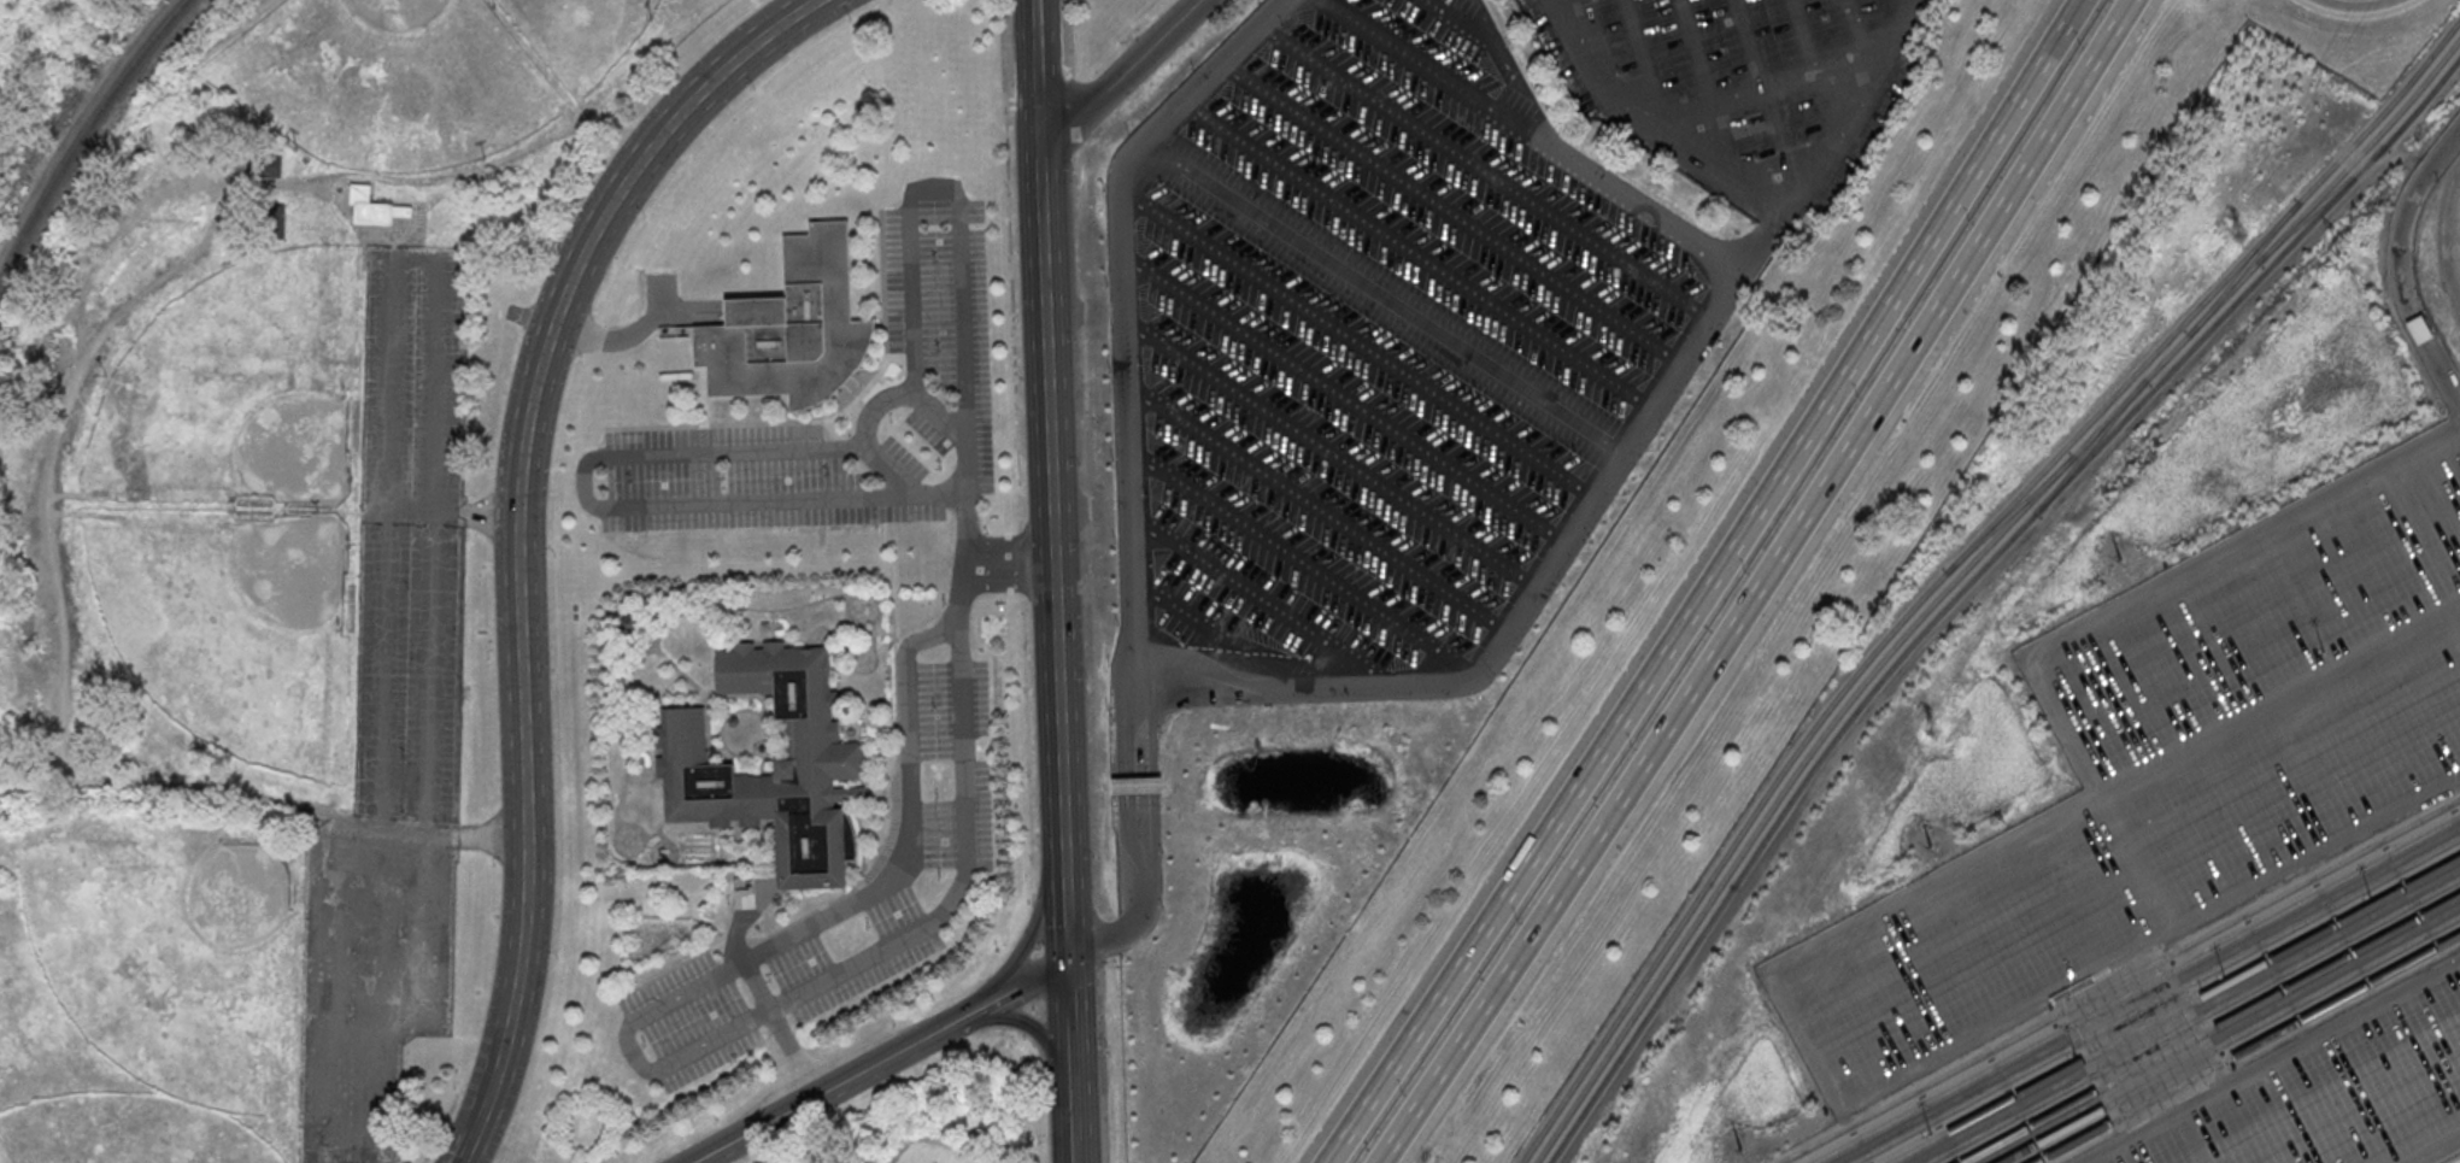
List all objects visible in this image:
road: (1908, 5)
road: (2361, 5)
road: (1033, 11)
street lamp: (853, 18)
road: (1861, 27)
road: (1468, 28)
road: (1804, 33)
street lamp: (1009, 35)
road: (1067, 36)
road: (1751, 40)
road: (1697, 48)
road: (1643, 54)
road: (1122, 74)
parking lot: (1742, 86)
street lamp: (755, 89)
road: (1070, 93)
road: (1727, 93)
street lamp: (1010, 110)
street lamp: (635, 119)
railway: (83, 134)
road: (1531, 136)
street lamp: (1082, 163)
building: (271, 164)
road: (1486, 171)
street lamp: (1005, 184)
railway: (2323, 202)
road: (894, 208)
road: (1779, 208)
building: (372, 213)
road: (1452, 213)
street lamp: (645, 216)
power tower: (2239, 237)
road: (2454, 242)
road: (1419, 257)
street lamp: (938, 258)
street lamp: (1009, 258)
road: (416, 259)
road: (1010, 264)
road: (2396, 266)
railway: (2244, 268)
road: (1385, 296)
building: (791, 328)
road: (638, 331)
street lamp: (1010, 335)
street lamp: (1078, 339)
road: (1358, 342)
street lamp: (938, 348)
road: (1125, 352)
street lamp: (581, 356)
parking lot: (1374, 359)
parking lot: (950, 381)
road: (875, 386)
road: (882, 394)
road: (1345, 399)
road: (856, 405)
road: (873, 407)
street lamp: (1014, 407)
road: (864, 415)
road: (833, 418)
street lamp: (891, 421)
road: (605, 442)
railway: (2091, 446)
road: (1046, 450)
road: (1331, 456)
street lamp: (493, 459)
street lamp: (1081, 463)
street lamp: (941, 466)
street lamp: (829, 472)
street lamp: (723, 476)
street lamp: (630, 480)
street lamp: (1017, 482)
road: (615, 509)
road: (1317, 510)
road: (881, 511)
road: (433, 512)
road: (451, 512)
railway: (2010, 512)
road: (386, 513)
road: (517, 533)
street lamp: (1092, 542)
road: (1008, 546)
street lamp: (554, 556)
road: (1021, 560)
railway: (1955, 563)
road: (1305, 565)
building: (239, 571)
railway: (1962, 572)
road: (2174, 574)
road: (1008, 576)
railway: (1969, 582)
road: (1754, 585)
road: (1710, 586)
road: (1537, 589)
road: (962, 594)
road: (1266, 601)
street lamp: (1021, 612)
building: (627, 622)
road: (1217, 634)
street lamp: (488, 657)
road: (1170, 664)
road: (429, 671)
street lamp: (1090, 677)
street lamp: (1022, 691)
road: (383, 693)
power tower: (1933, 732)
road: (1027, 747)
street lamp: (560, 762)
building: (820, 769)
road: (893, 770)
street lamp: (1026, 774)
parking lot: (2171, 774)
road: (1137, 781)
road: (457, 835)
street lamp: (1096, 856)
road: (1139, 857)
street lamp: (1028, 858)
road: (2135, 860)
street lamp: (498, 864)
road: (891, 880)
parking lot: (851, 897)
road: (1062, 920)
road: (1035, 922)
road: (734, 940)
road: (1099, 941)
road: (1026, 945)
road: (1039, 950)
street lamp: (1043, 950)
street lamp: (557, 958)
traffic signals: (1064, 963)
road: (669, 968)
road: (1037, 975)
railway: (2120, 981)
road: (1022, 983)
railway: (2137, 989)
road: (759, 992)
road: (2148, 995)
railway: (2157, 1000)
road: (1785, 1003)
road: (1037, 1008)
railway: (2177, 1011)
road: (967, 1015)
road: (2186, 1016)
road: (1069, 1017)
road: (1023, 1020)
railway: (2195, 1021)
railway: (2212, 1029)
road: (1026, 1033)
road: (1039, 1033)
road: (2220, 1034)
railway: (2231, 1040)
railway: (2248, 1049)
road: (630, 1056)
road: (2270, 1061)
road: (2154, 1064)
parking lot: (2326, 1091)
road: (821, 1093)
road: (1075, 1106)
road: (2433, 1149)
road: (1076, 1152)
parking lot: (933, 1162)

